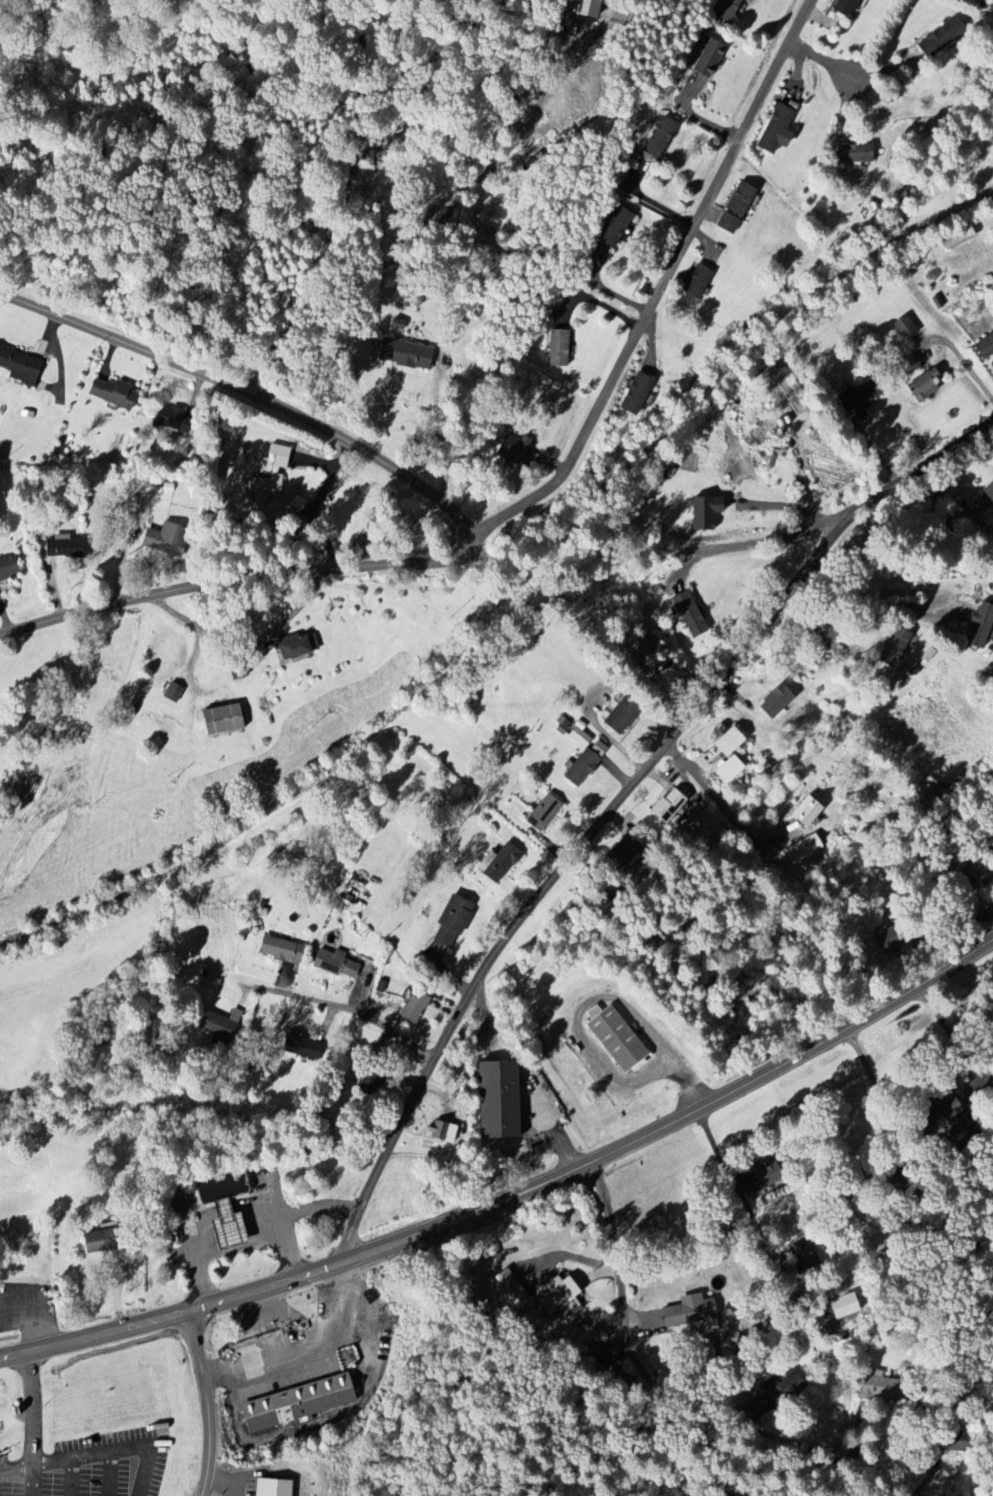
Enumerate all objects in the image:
building: (841, 7)
building: (725, 10)
building: (702, 59)
road: (821, 60)
building: (773, 130)
building: (655, 138)
road: (344, 207)
building: (733, 209)
building: (613, 227)
road: (659, 288)
building: (555, 349)
building: (400, 355)
building: (22, 366)
building: (920, 387)
road: (249, 392)
building: (116, 394)
building: (634, 395)
building: (854, 398)
building: (173, 420)
road: (443, 440)
building: (509, 449)
building: (273, 475)
building: (987, 494)
road: (317, 503)
building: (169, 539)
road: (756, 542)
building: (67, 547)
building: (10, 568)
road: (236, 577)
railway: (517, 594)
road: (879, 598)
building: (685, 615)
building: (978, 626)
road: (246, 637)
building: (892, 647)
road: (192, 667)
building: (175, 692)
road: (664, 692)
building: (772, 703)
building: (225, 720)
building: (576, 738)
building: (725, 743)
building: (577, 769)
building: (727, 771)
road: (610, 808)
building: (809, 811)
building: (547, 812)
road: (729, 813)
building: (806, 848)
building: (630, 851)
building: (507, 860)
building: (352, 891)
building: (456, 920)
building: (285, 950)
building: (338, 964)
road: (593, 998)
road: (340, 1003)
building: (417, 1006)
road: (952, 1020)
building: (222, 1026)
building: (618, 1038)
road: (878, 1096)
building: (503, 1099)
building: (445, 1131)
road: (459, 1142)
road: (564, 1174)
building: (768, 1175)
road: (732, 1179)
building: (230, 1207)
road: (288, 1216)
building: (106, 1241)
road: (219, 1253)
building: (803, 1257)
building: (512, 1290)
building: (562, 1296)
building: (846, 1306)
building: (692, 1311)
road: (50, 1348)
building: (792, 1385)
building: (887, 1388)
road: (686, 1395)
road: (203, 1403)
building: (302, 1403)
road: (33, 1427)
road: (118, 1450)
road: (34, 1480)
building: (275, 1488)

